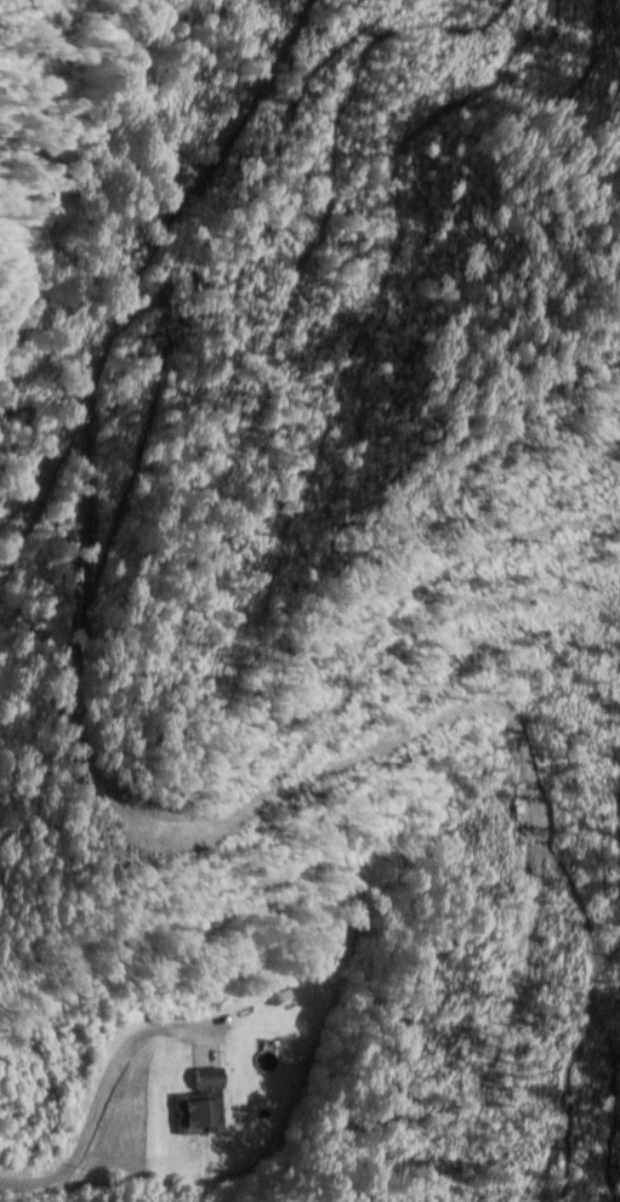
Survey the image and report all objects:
road: (142, 253)
road: (87, 1106)
building: (197, 1106)

